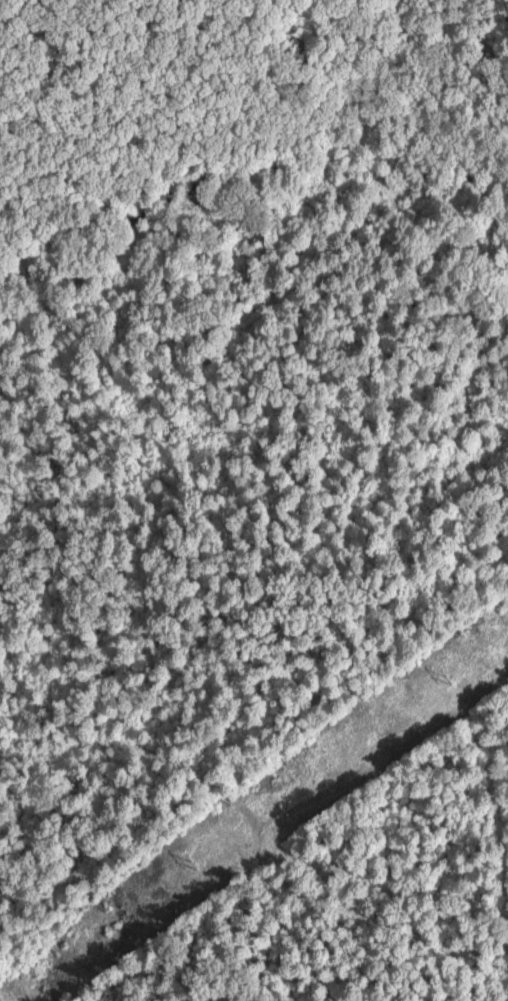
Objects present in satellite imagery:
power tower: (444, 677)

